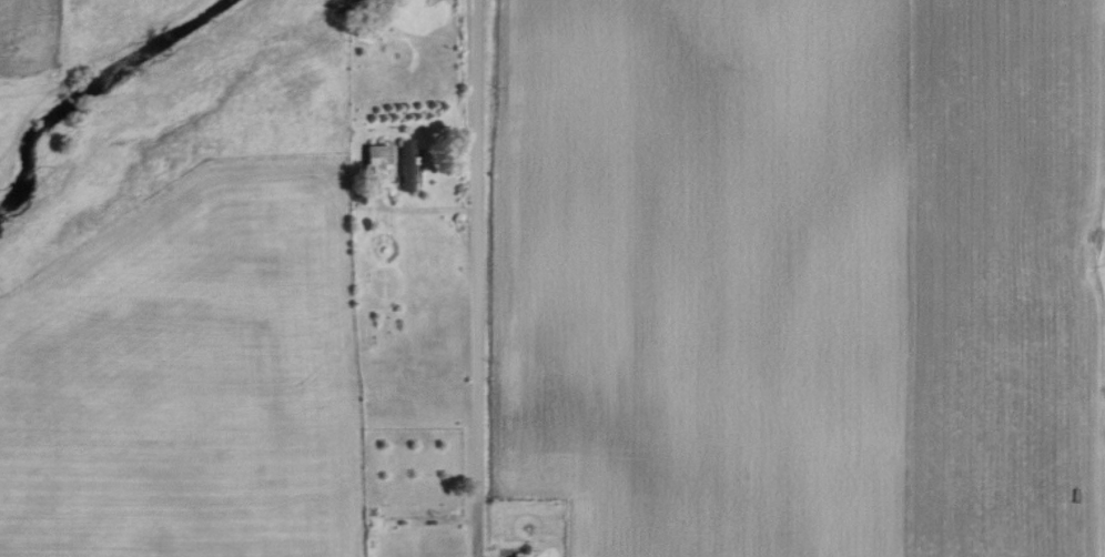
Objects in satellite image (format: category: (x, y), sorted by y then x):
building: (378, 154)
building: (407, 164)
road: (413, 212)
road: (474, 263)
road: (474, 543)
building: (516, 556)

